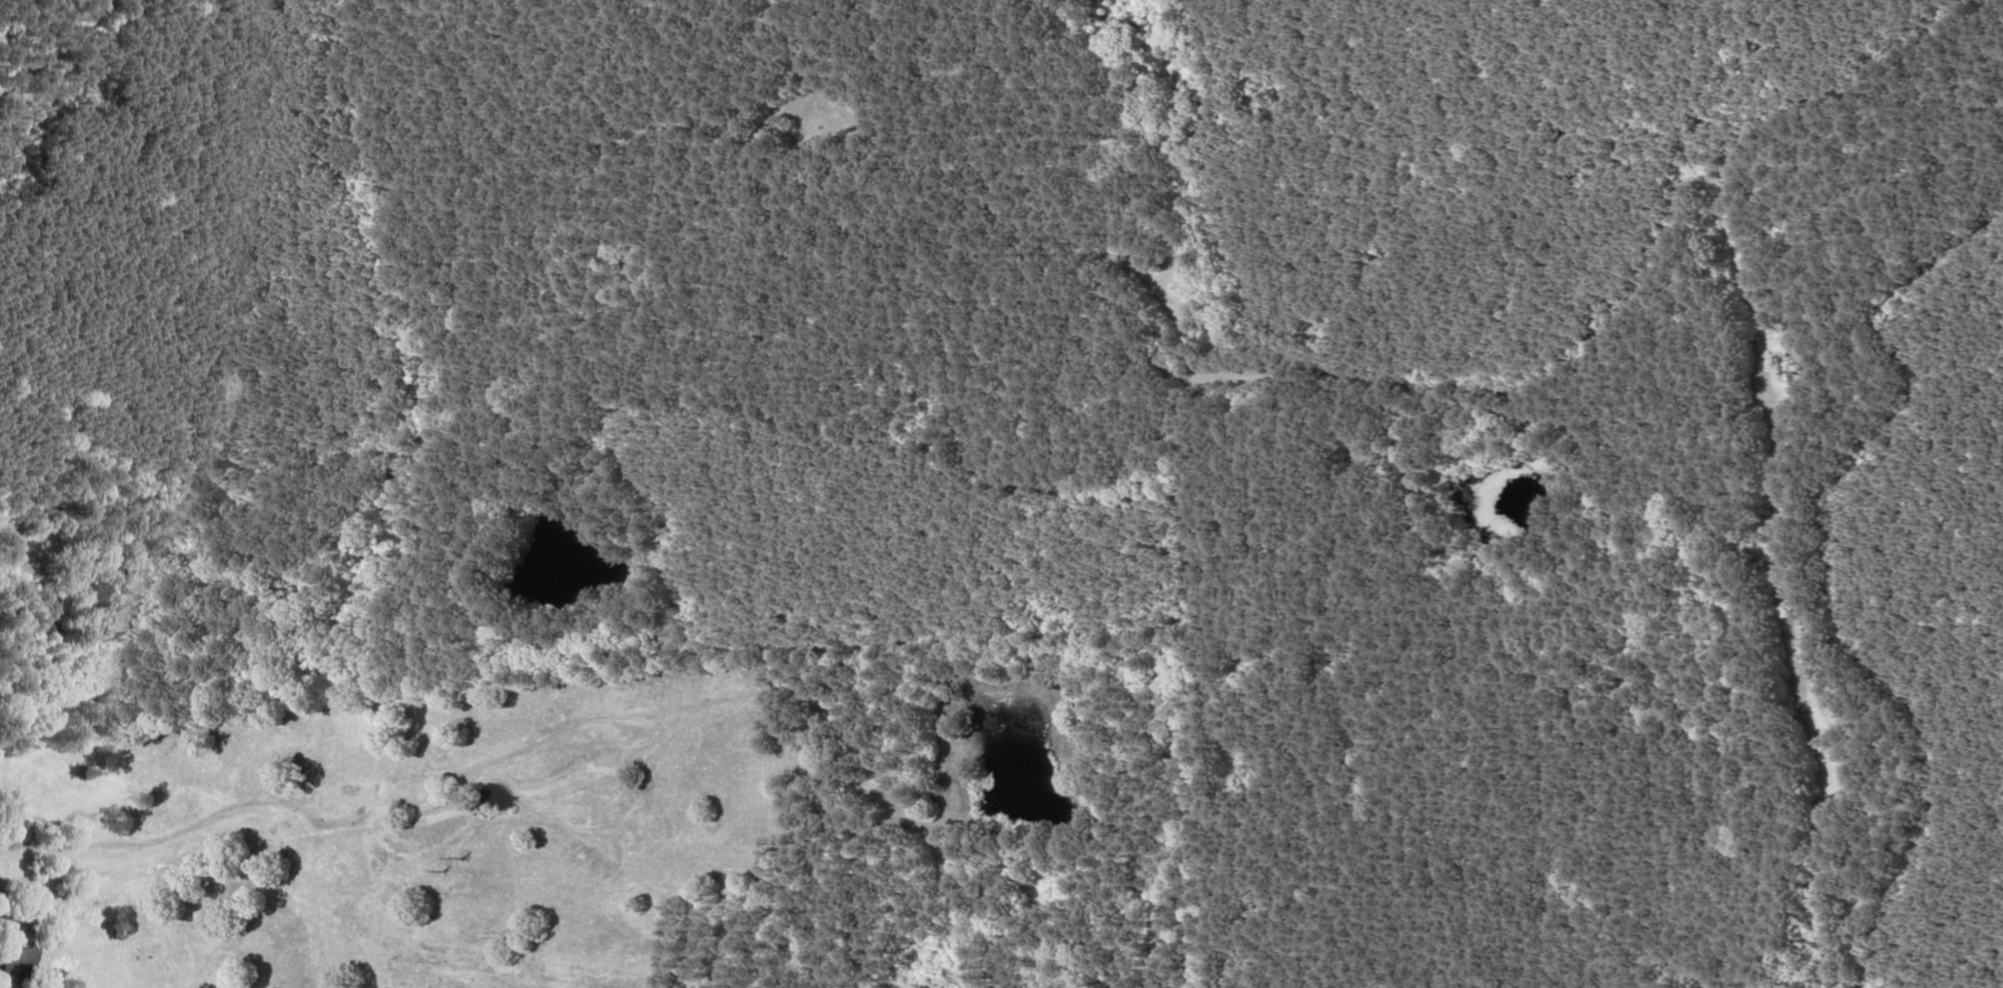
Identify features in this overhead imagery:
road: (66, 56)
building: (12, 960)

